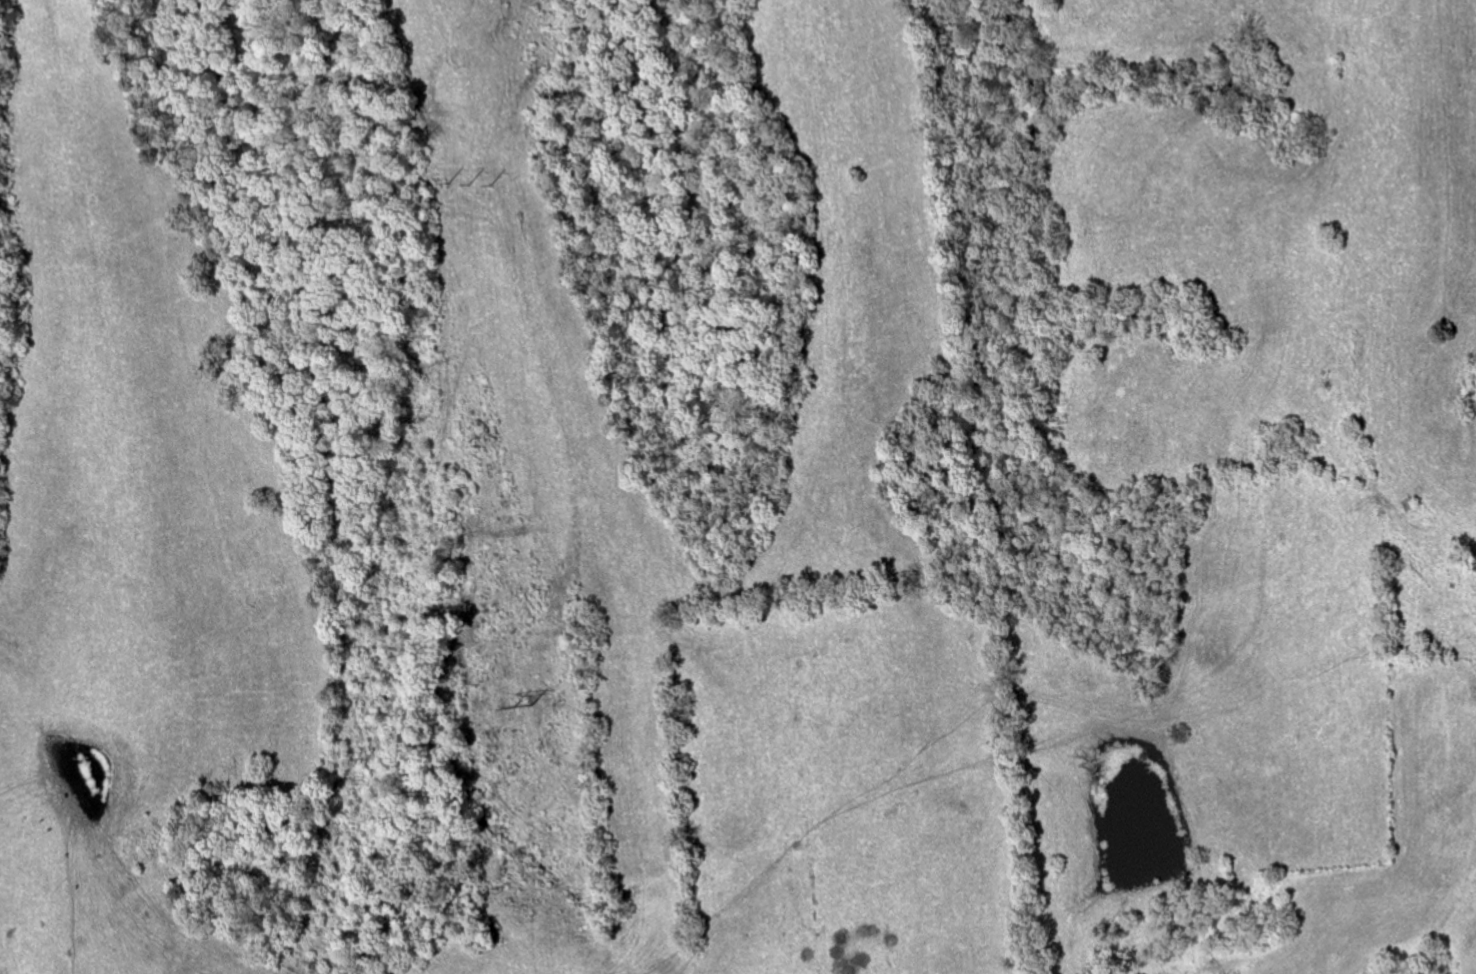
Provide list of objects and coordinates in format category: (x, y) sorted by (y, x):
power tower: (470, 187)
power tower: (522, 709)

